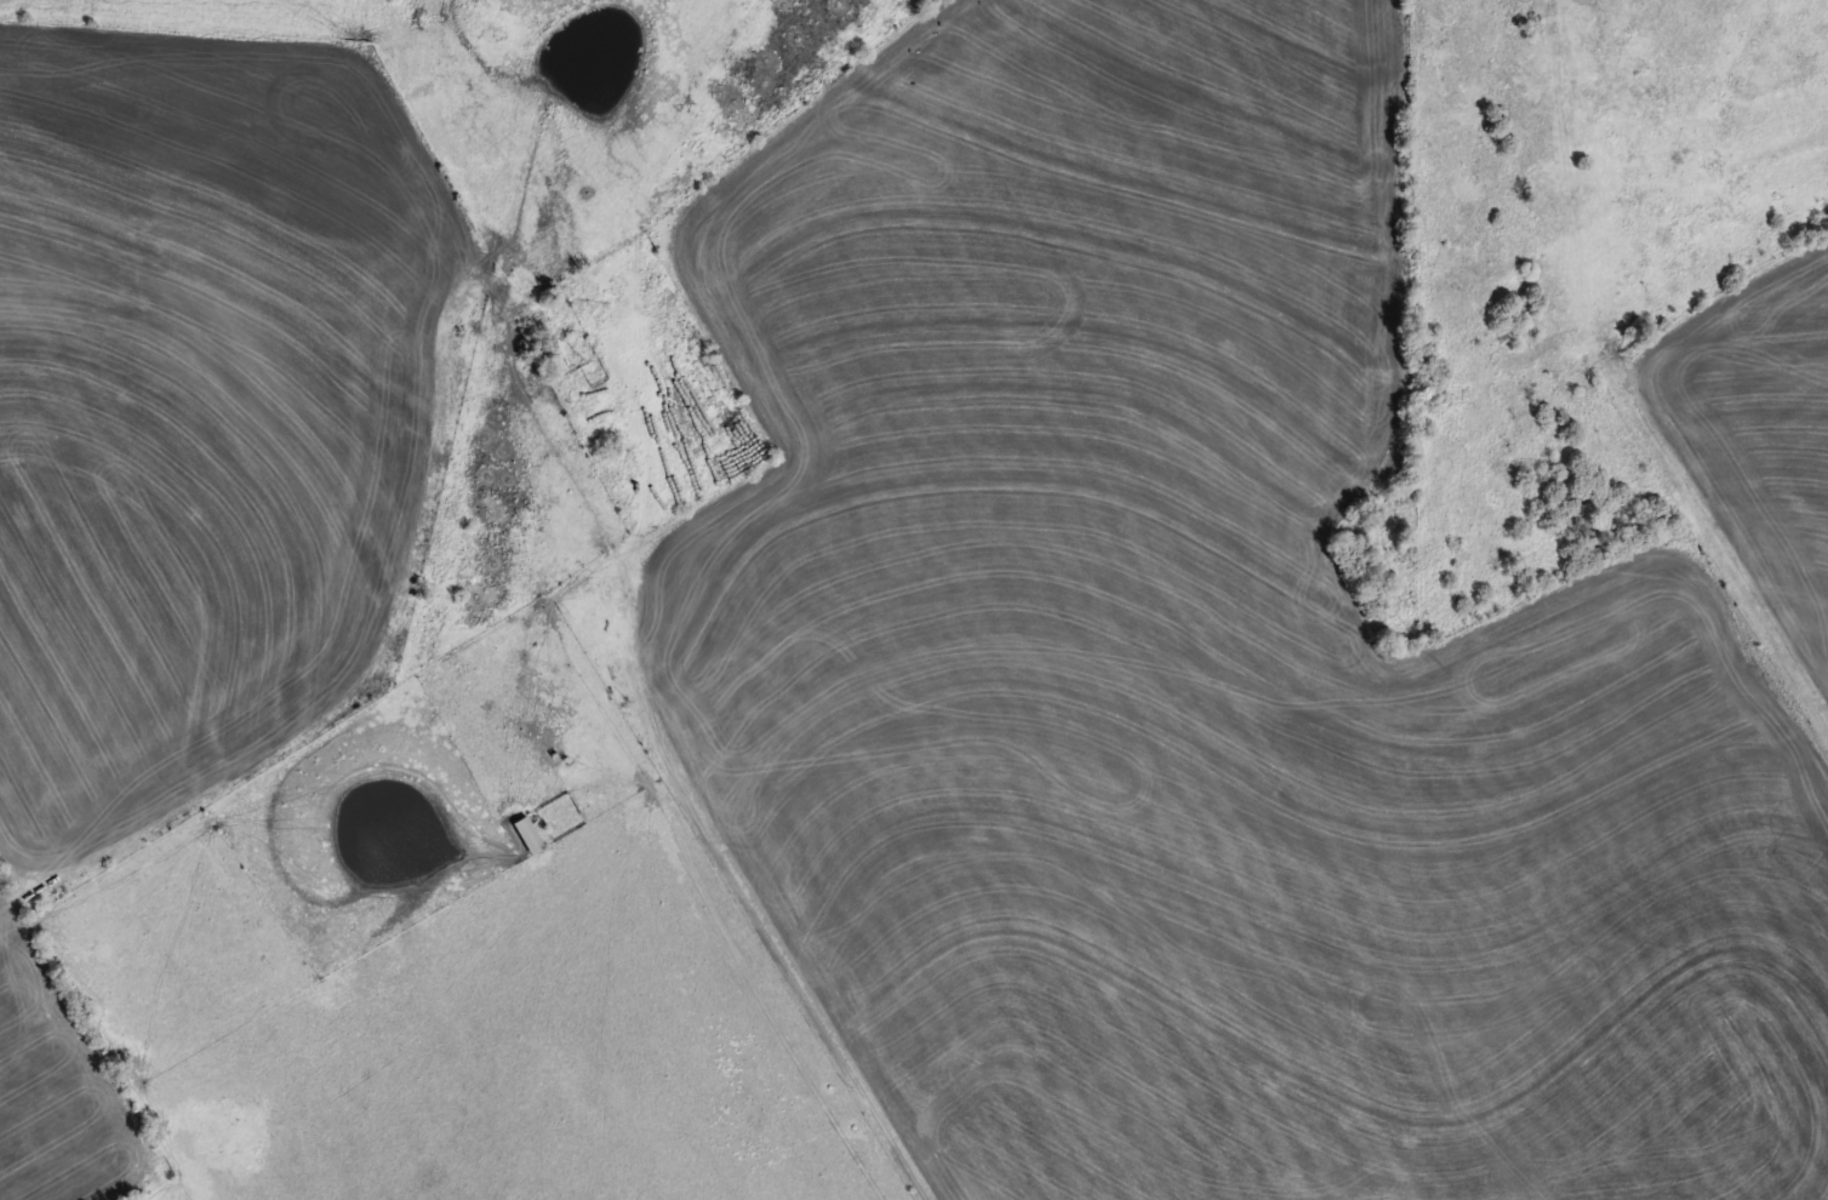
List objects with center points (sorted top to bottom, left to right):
building: (529, 834)

